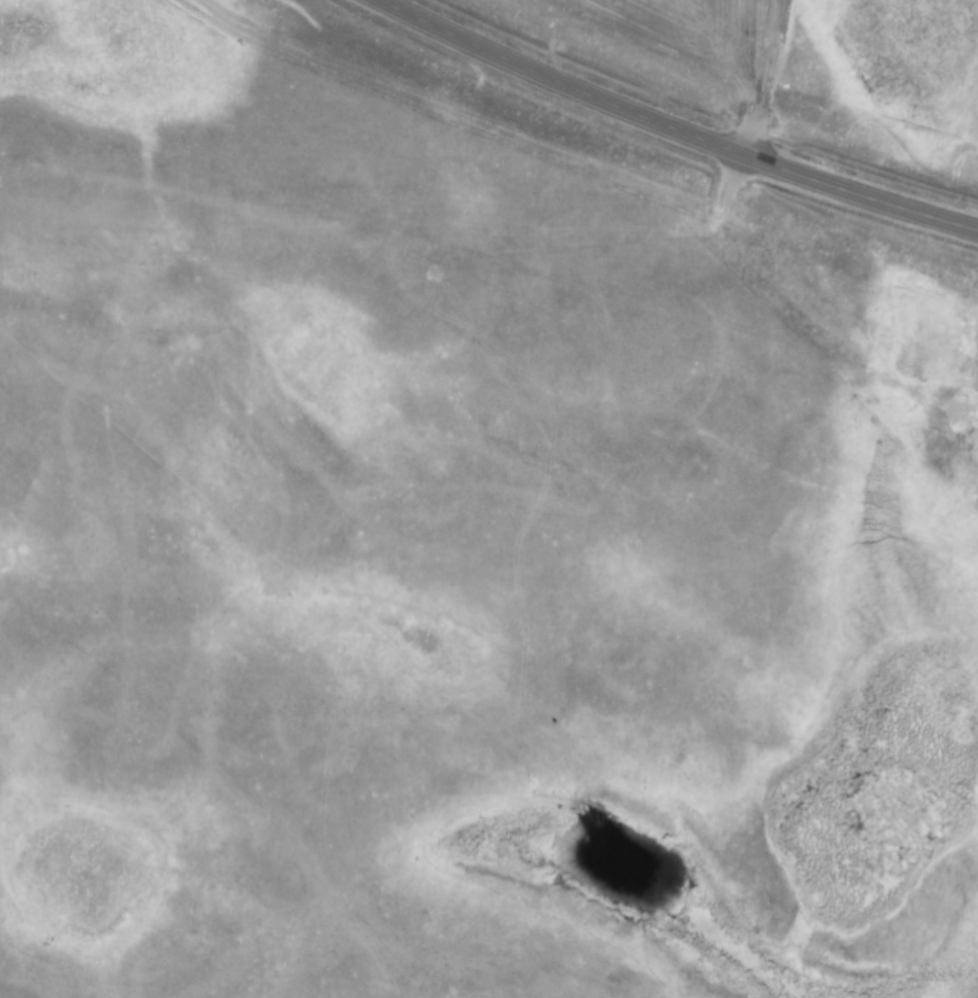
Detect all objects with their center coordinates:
road: (768, 76)
road: (674, 125)

